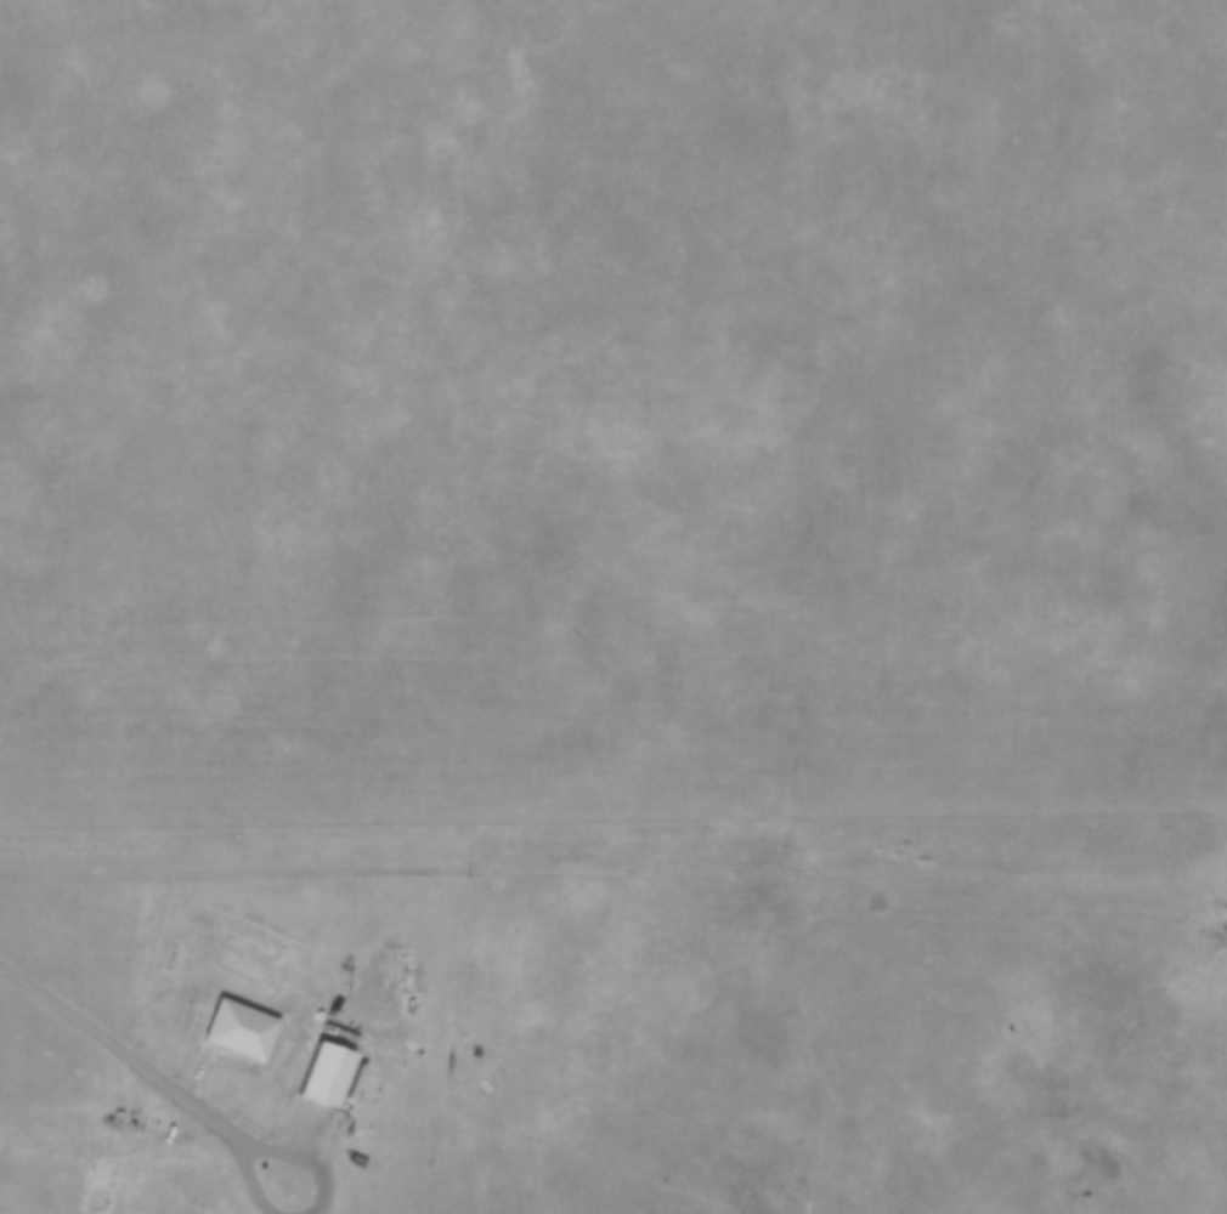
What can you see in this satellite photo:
building: (332, 1011)
silo: (332, 1011)
building: (241, 1028)
building: (324, 1072)

